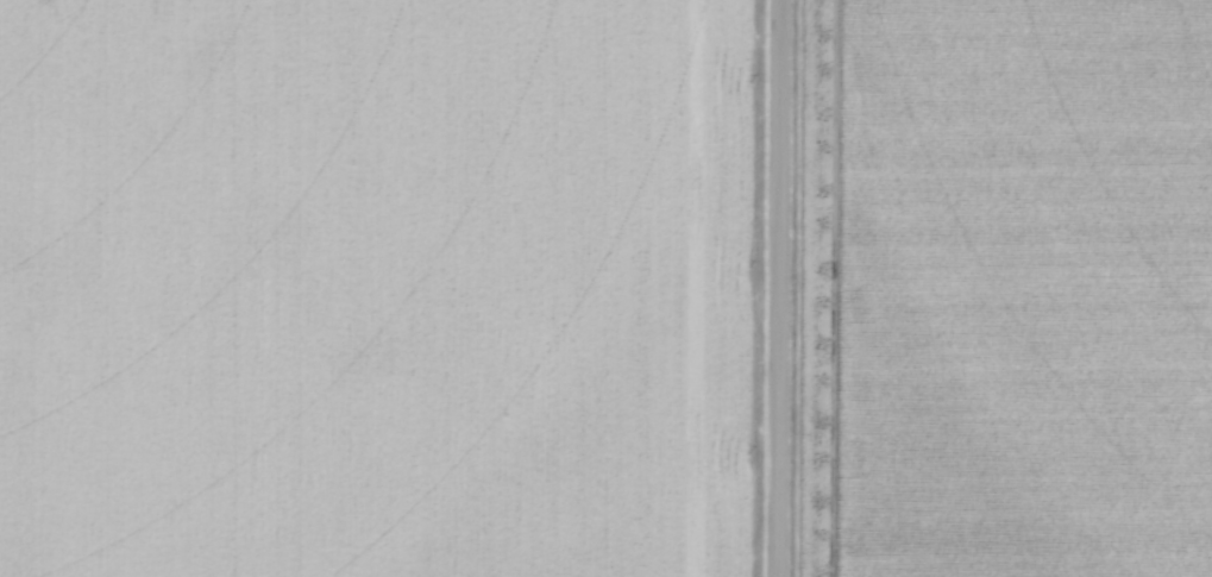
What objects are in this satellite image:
road: (777, 288)

